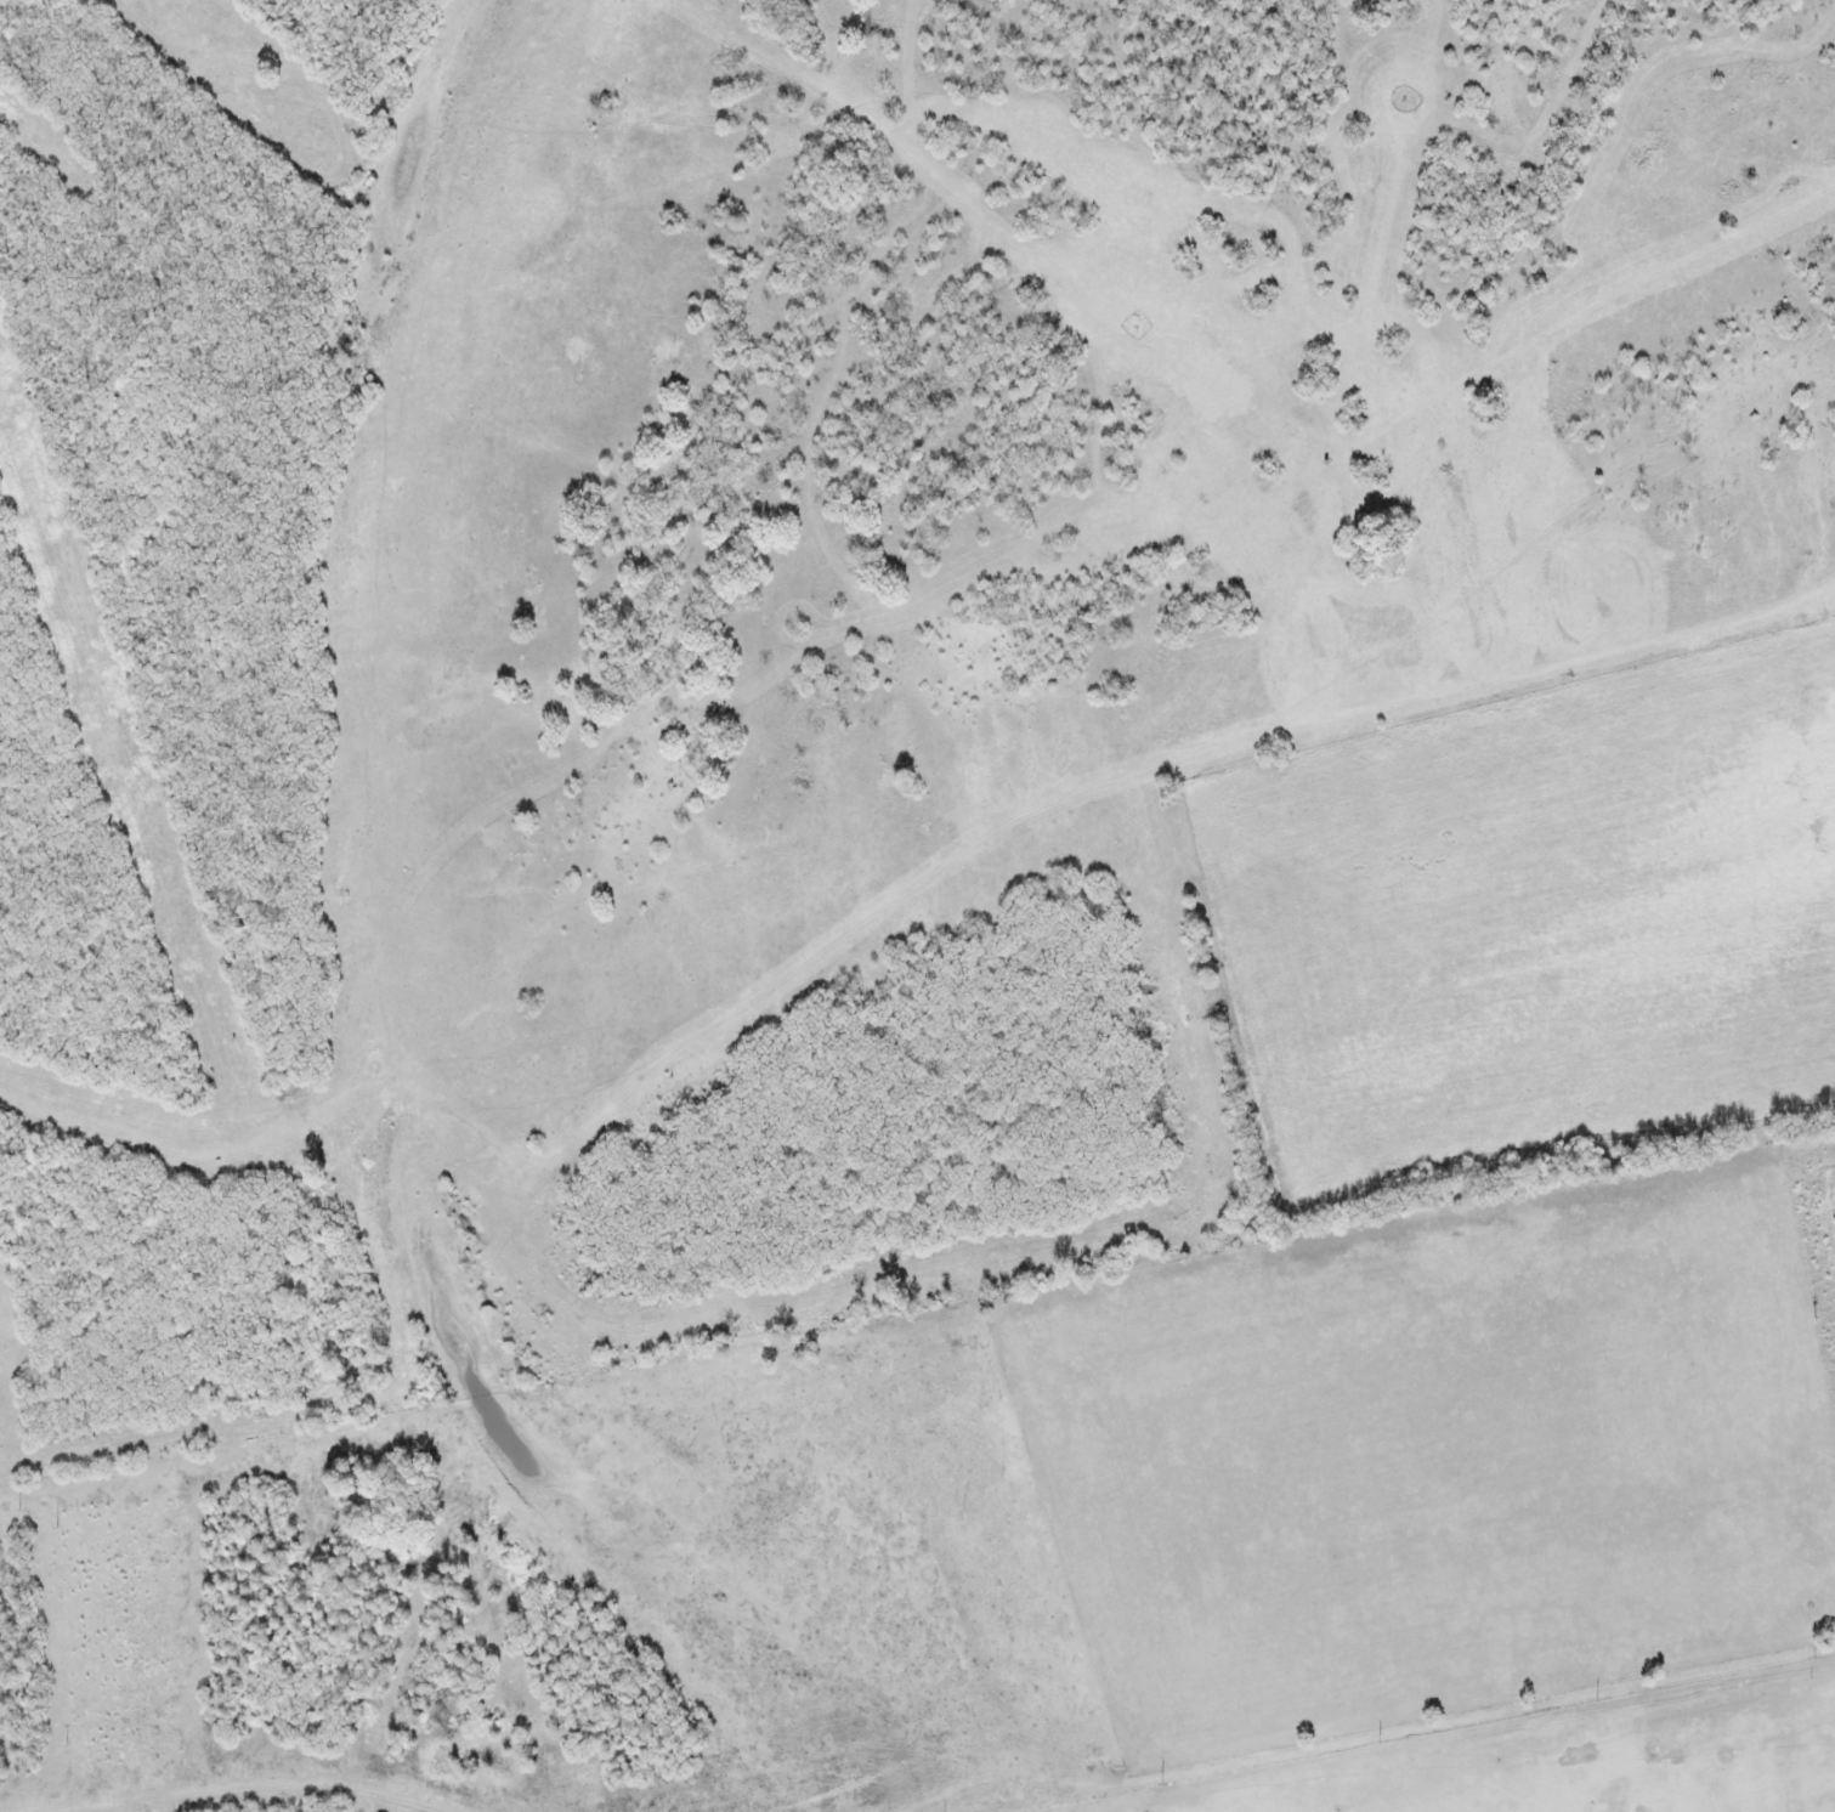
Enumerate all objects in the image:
road: (1809, 583)

